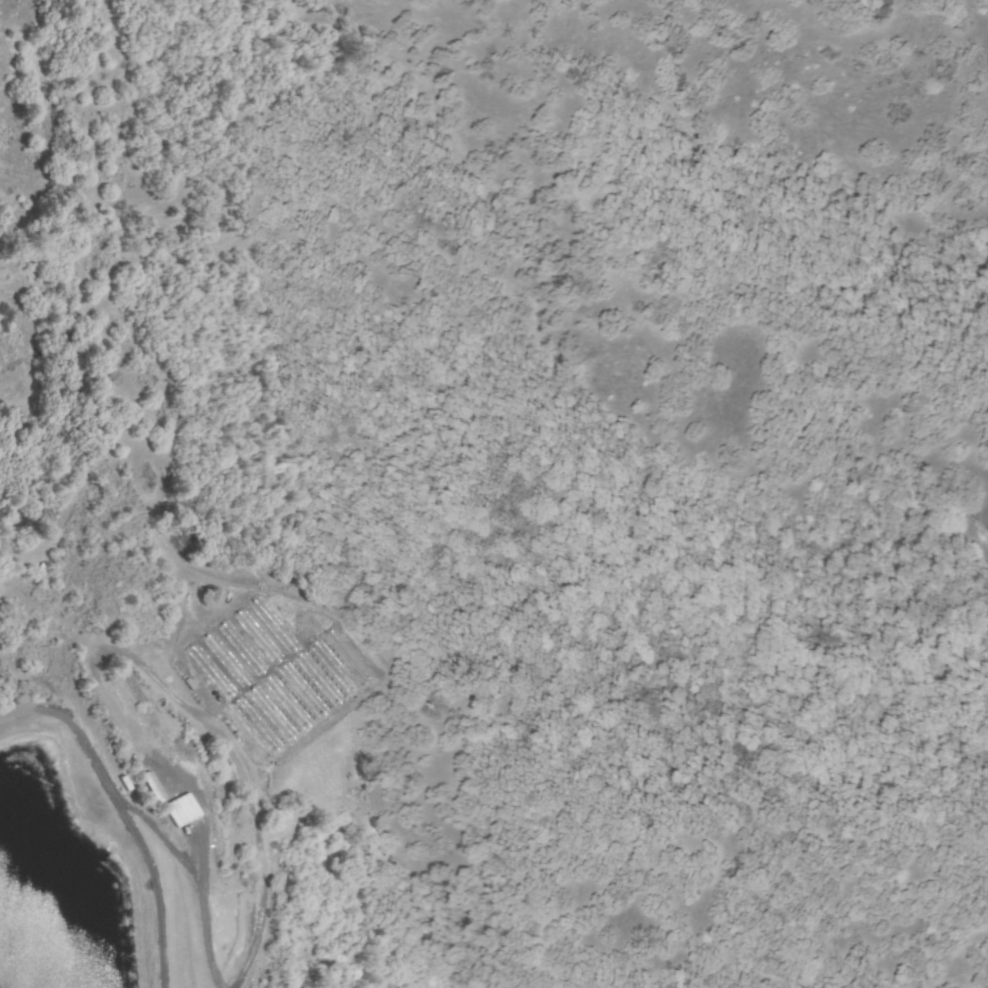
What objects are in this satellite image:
building: (273, 622)
building: (259, 633)
building: (243, 646)
building: (352, 653)
building: (228, 660)
building: (338, 666)
building: (211, 671)
building: (322, 679)
building: (305, 690)
building: (287, 702)
building: (270, 714)
building: (257, 725)
building: (151, 786)
building: (179, 809)
road: (202, 900)

